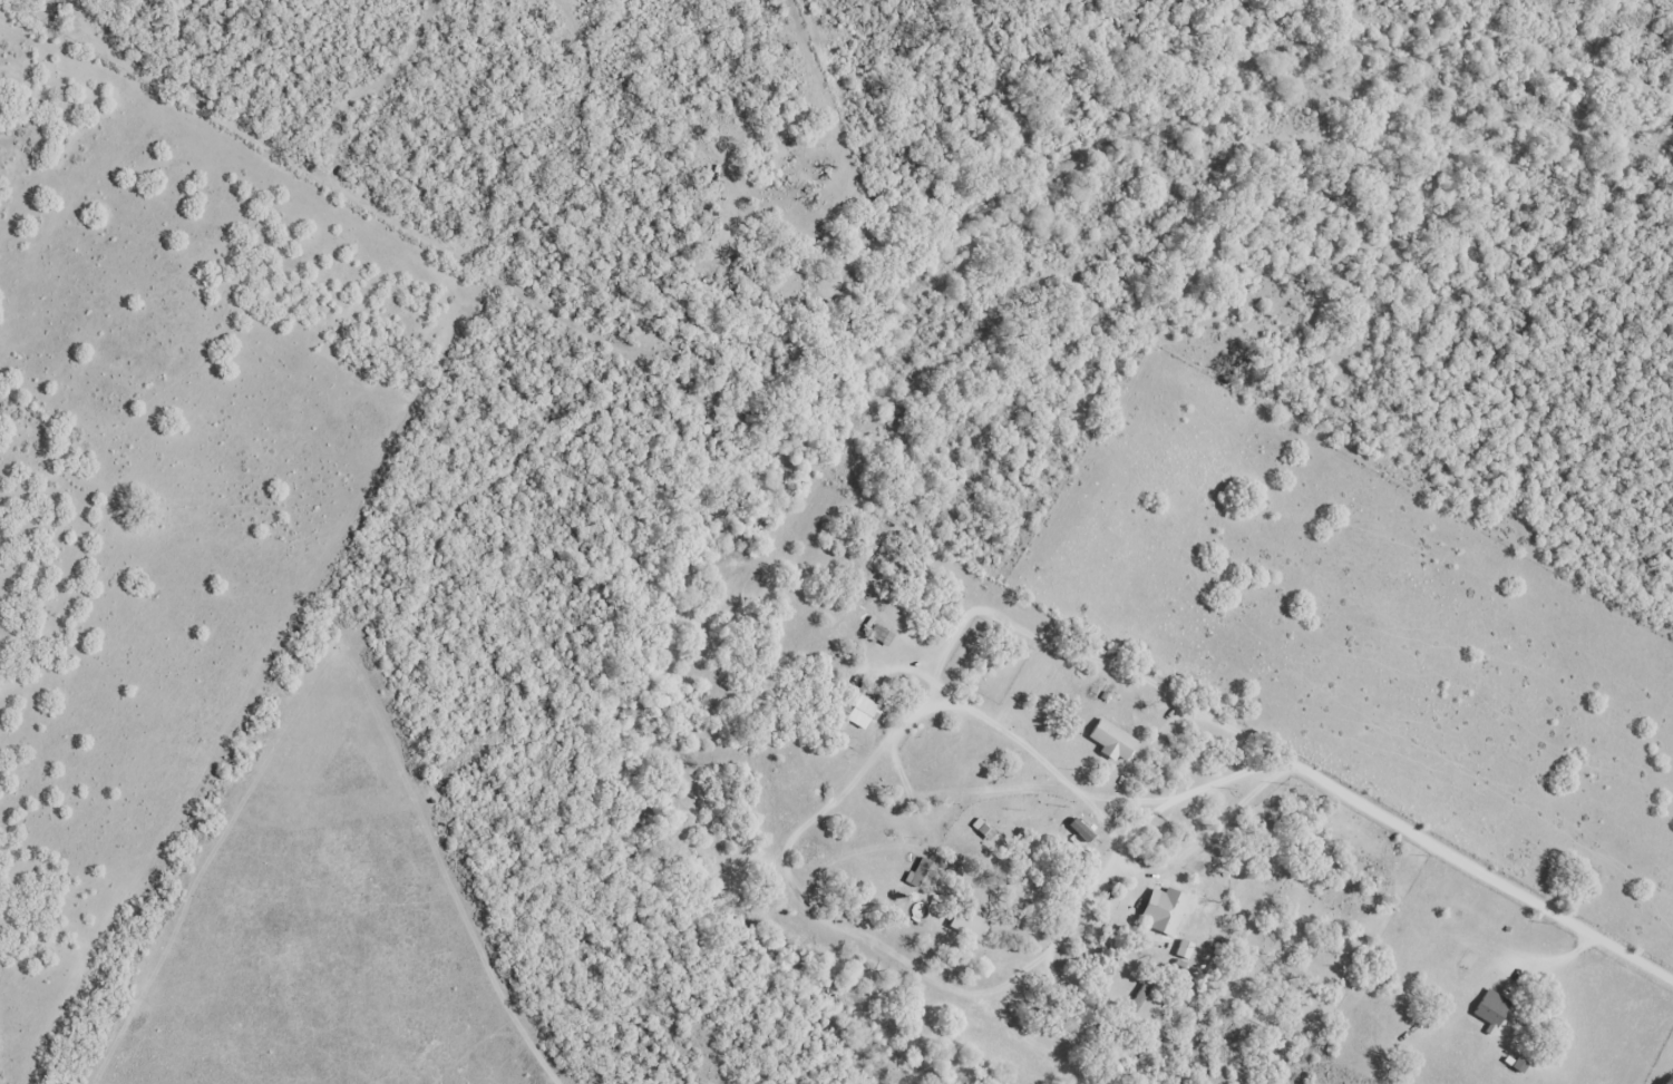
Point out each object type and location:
river: (864, 371)
road: (1083, 653)
road: (937, 703)
building: (859, 710)
building: (1108, 738)
road: (1360, 795)
road: (1102, 819)
building: (915, 869)
building: (1160, 907)
building: (964, 921)
building: (1180, 947)
building: (1487, 1005)

